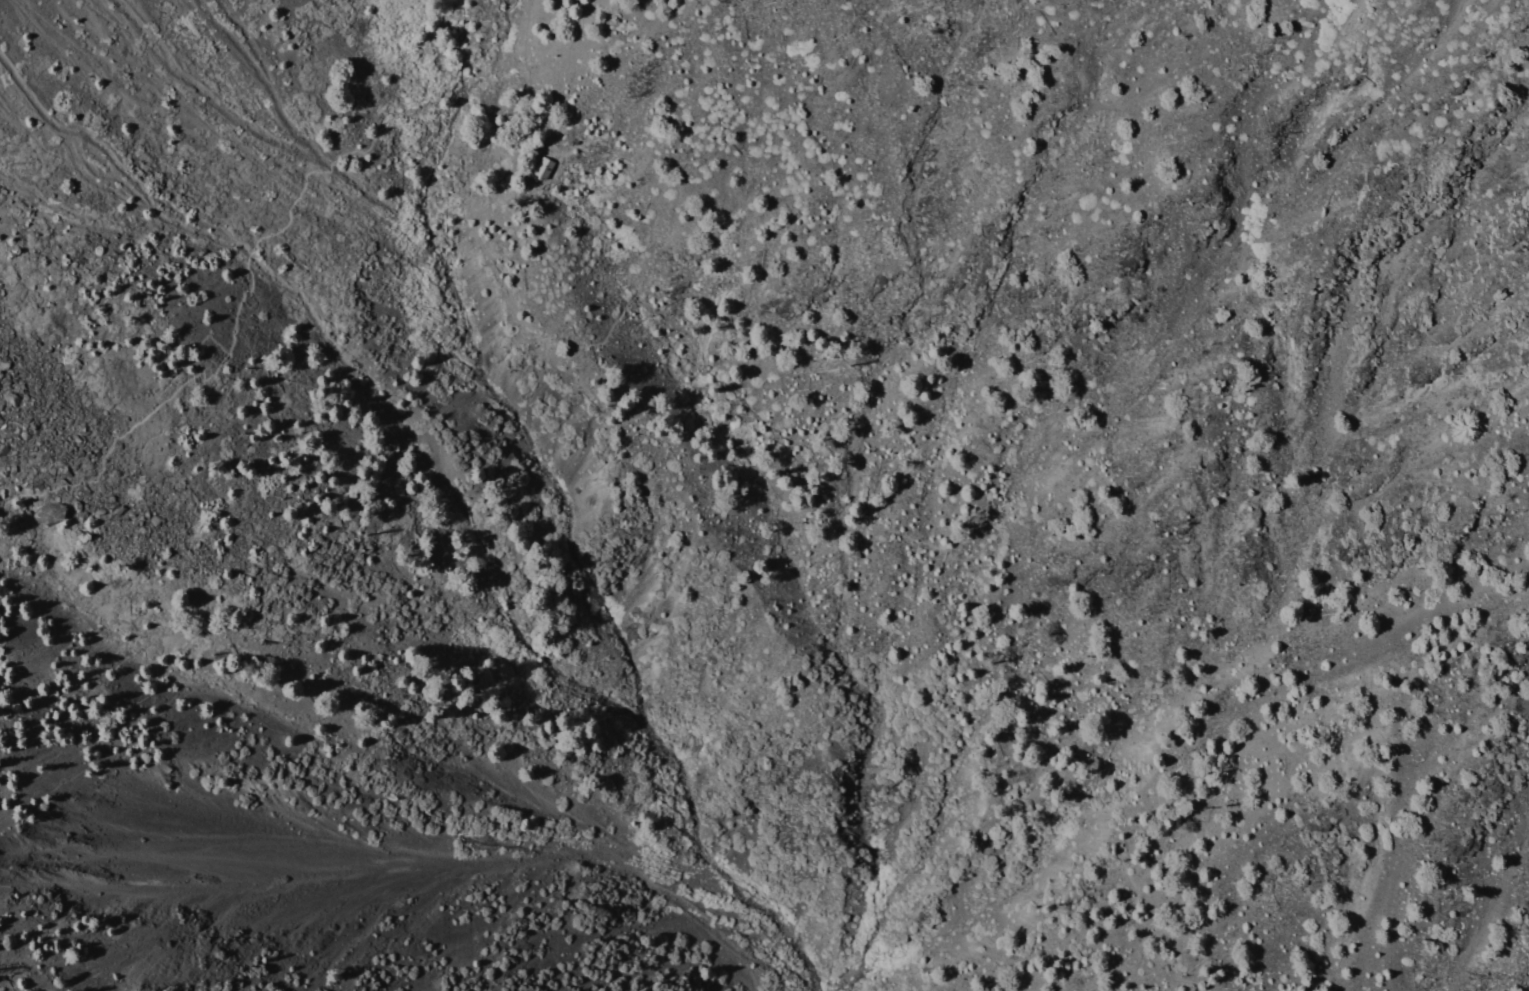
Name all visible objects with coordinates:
building: (574, 143)
road: (565, 153)
building: (544, 168)
road: (533, 182)
road: (683, 341)

